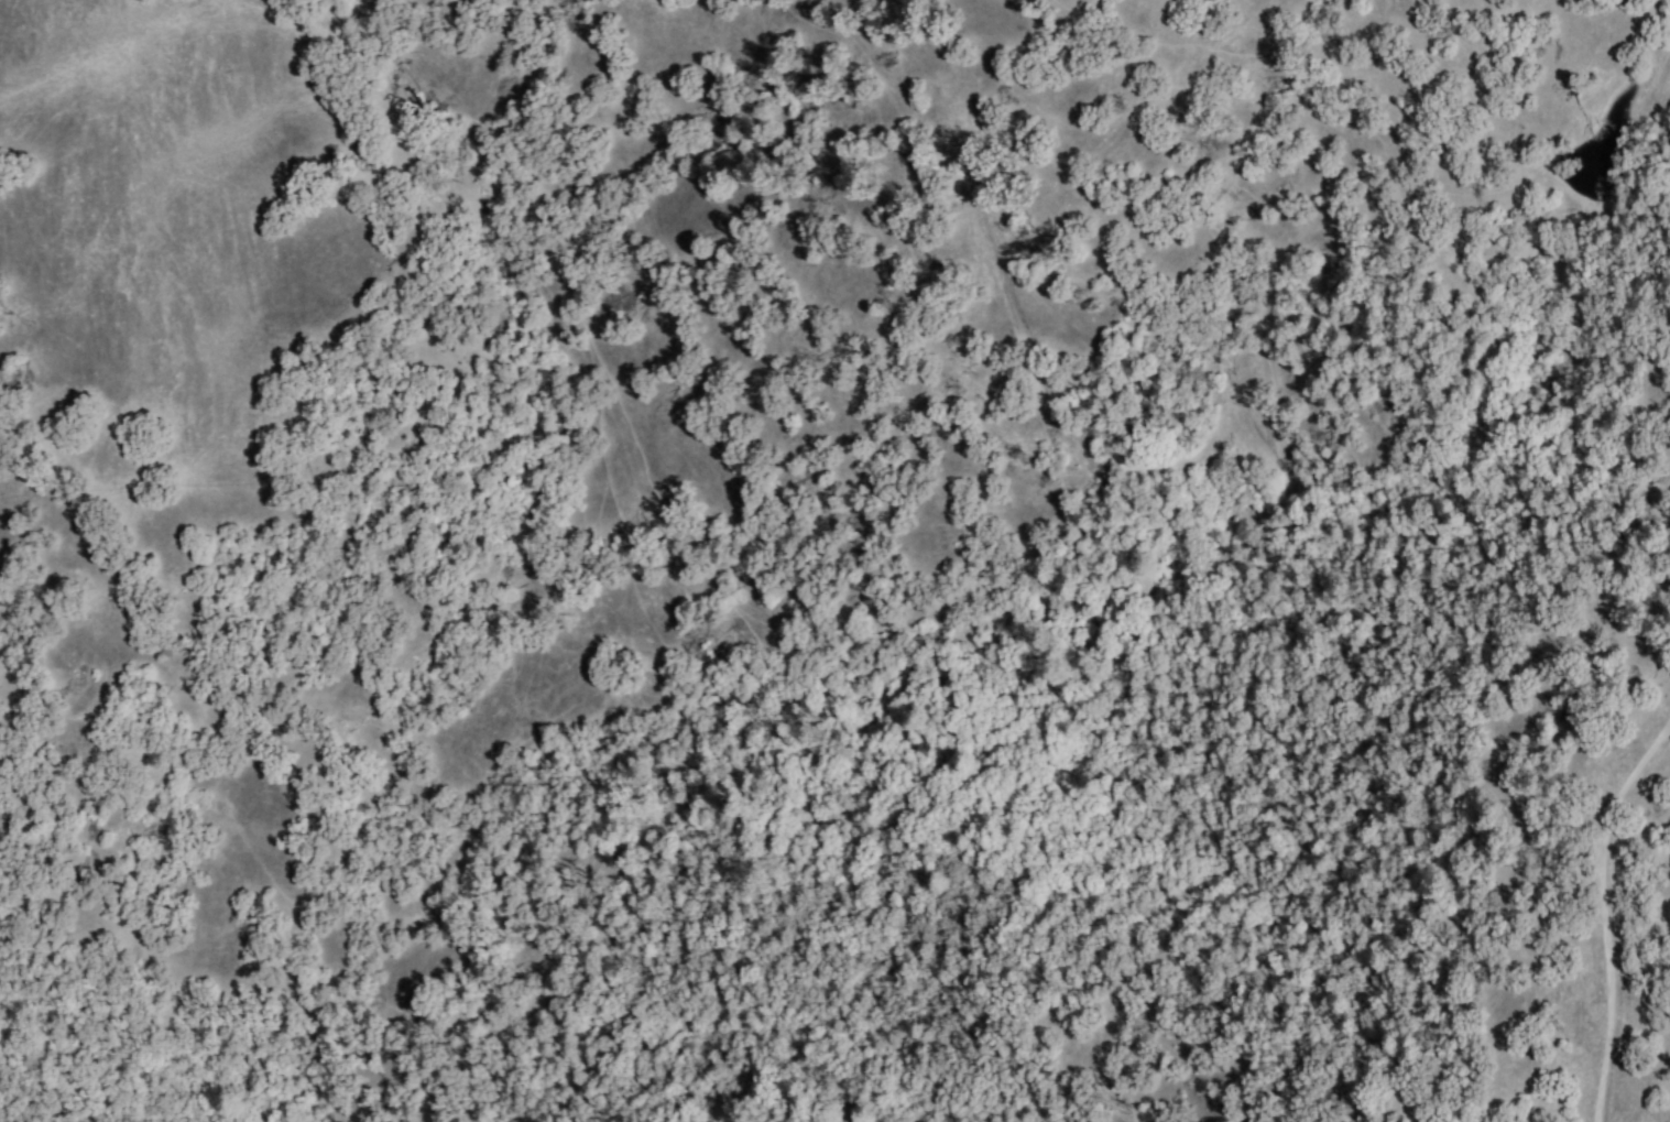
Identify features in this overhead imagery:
road: (1602, 912)

